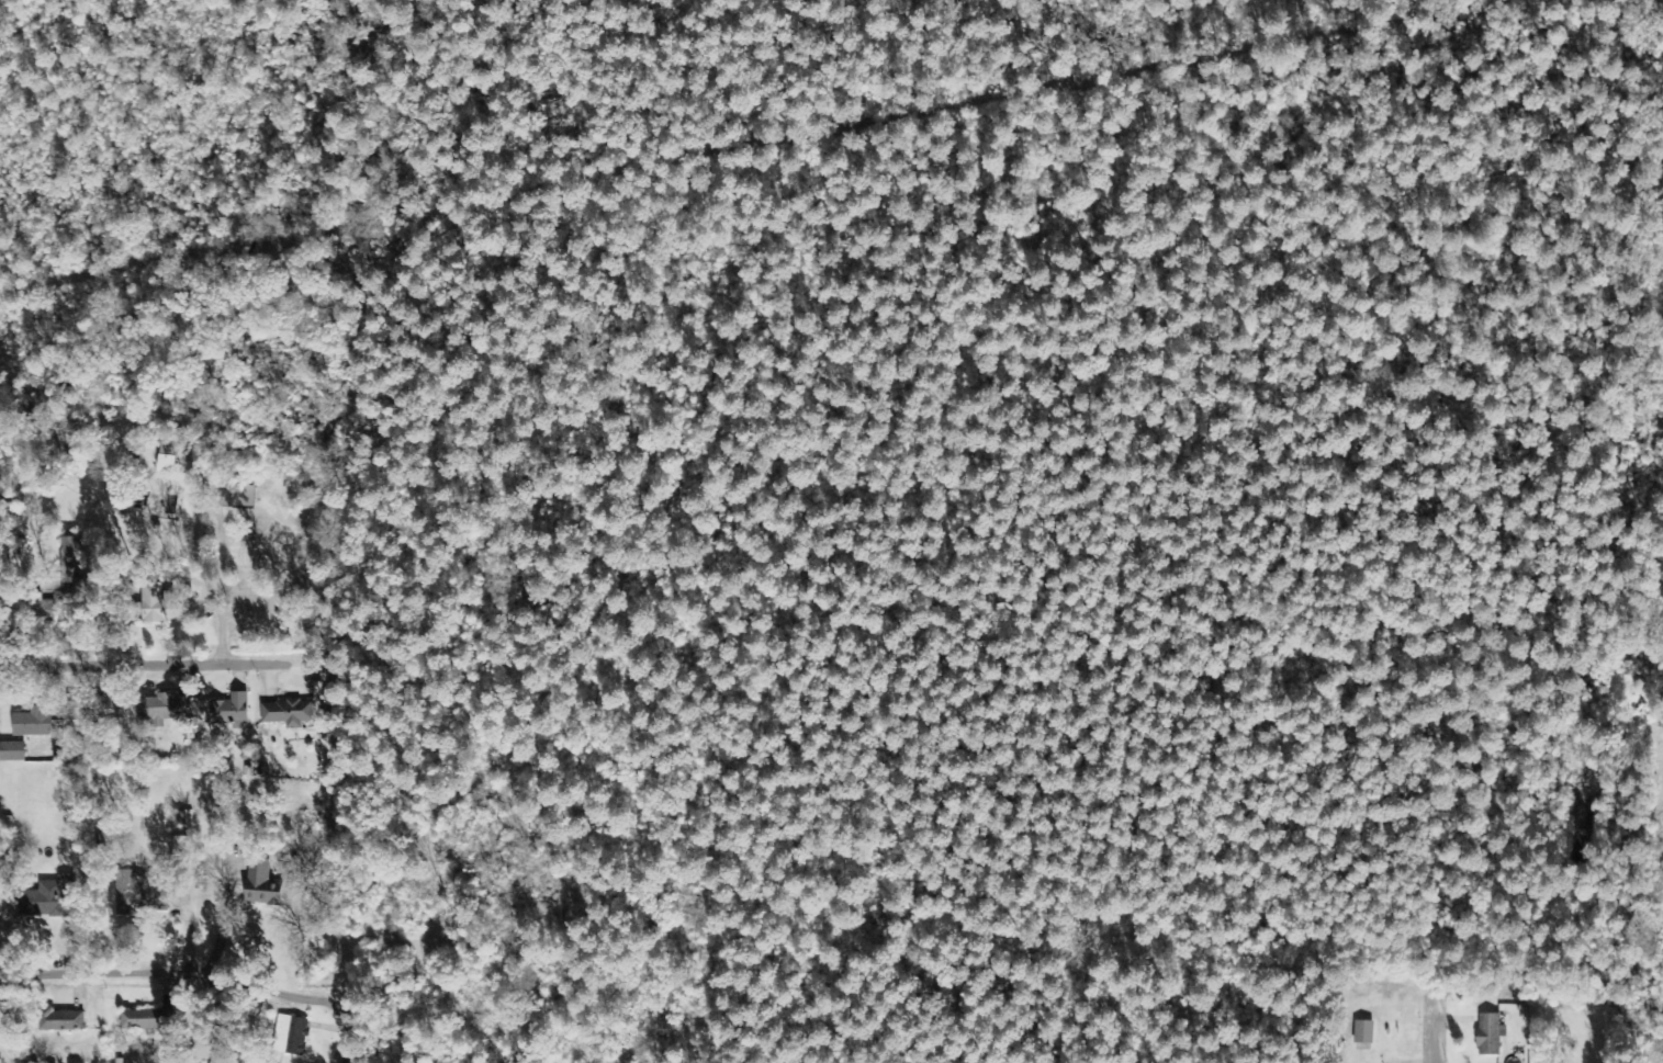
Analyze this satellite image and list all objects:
building: (165, 464)
building: (233, 498)
building: (69, 563)
building: (166, 606)
building: (45, 610)
road: (157, 623)
road: (92, 655)
building: (97, 708)
building: (166, 709)
building: (231, 709)
building: (288, 713)
building: (33, 723)
building: (12, 753)
building: (261, 883)
building: (138, 895)
building: (48, 897)
road: (176, 971)
building: (0, 1007)
road: (195, 1016)
building: (64, 1020)
building: (147, 1020)
building: (1363, 1032)
building: (1488, 1034)
building: (291, 1036)
road: (1438, 1040)
road: (350, 1041)
building: (0, 1061)
building: (212, 1062)

